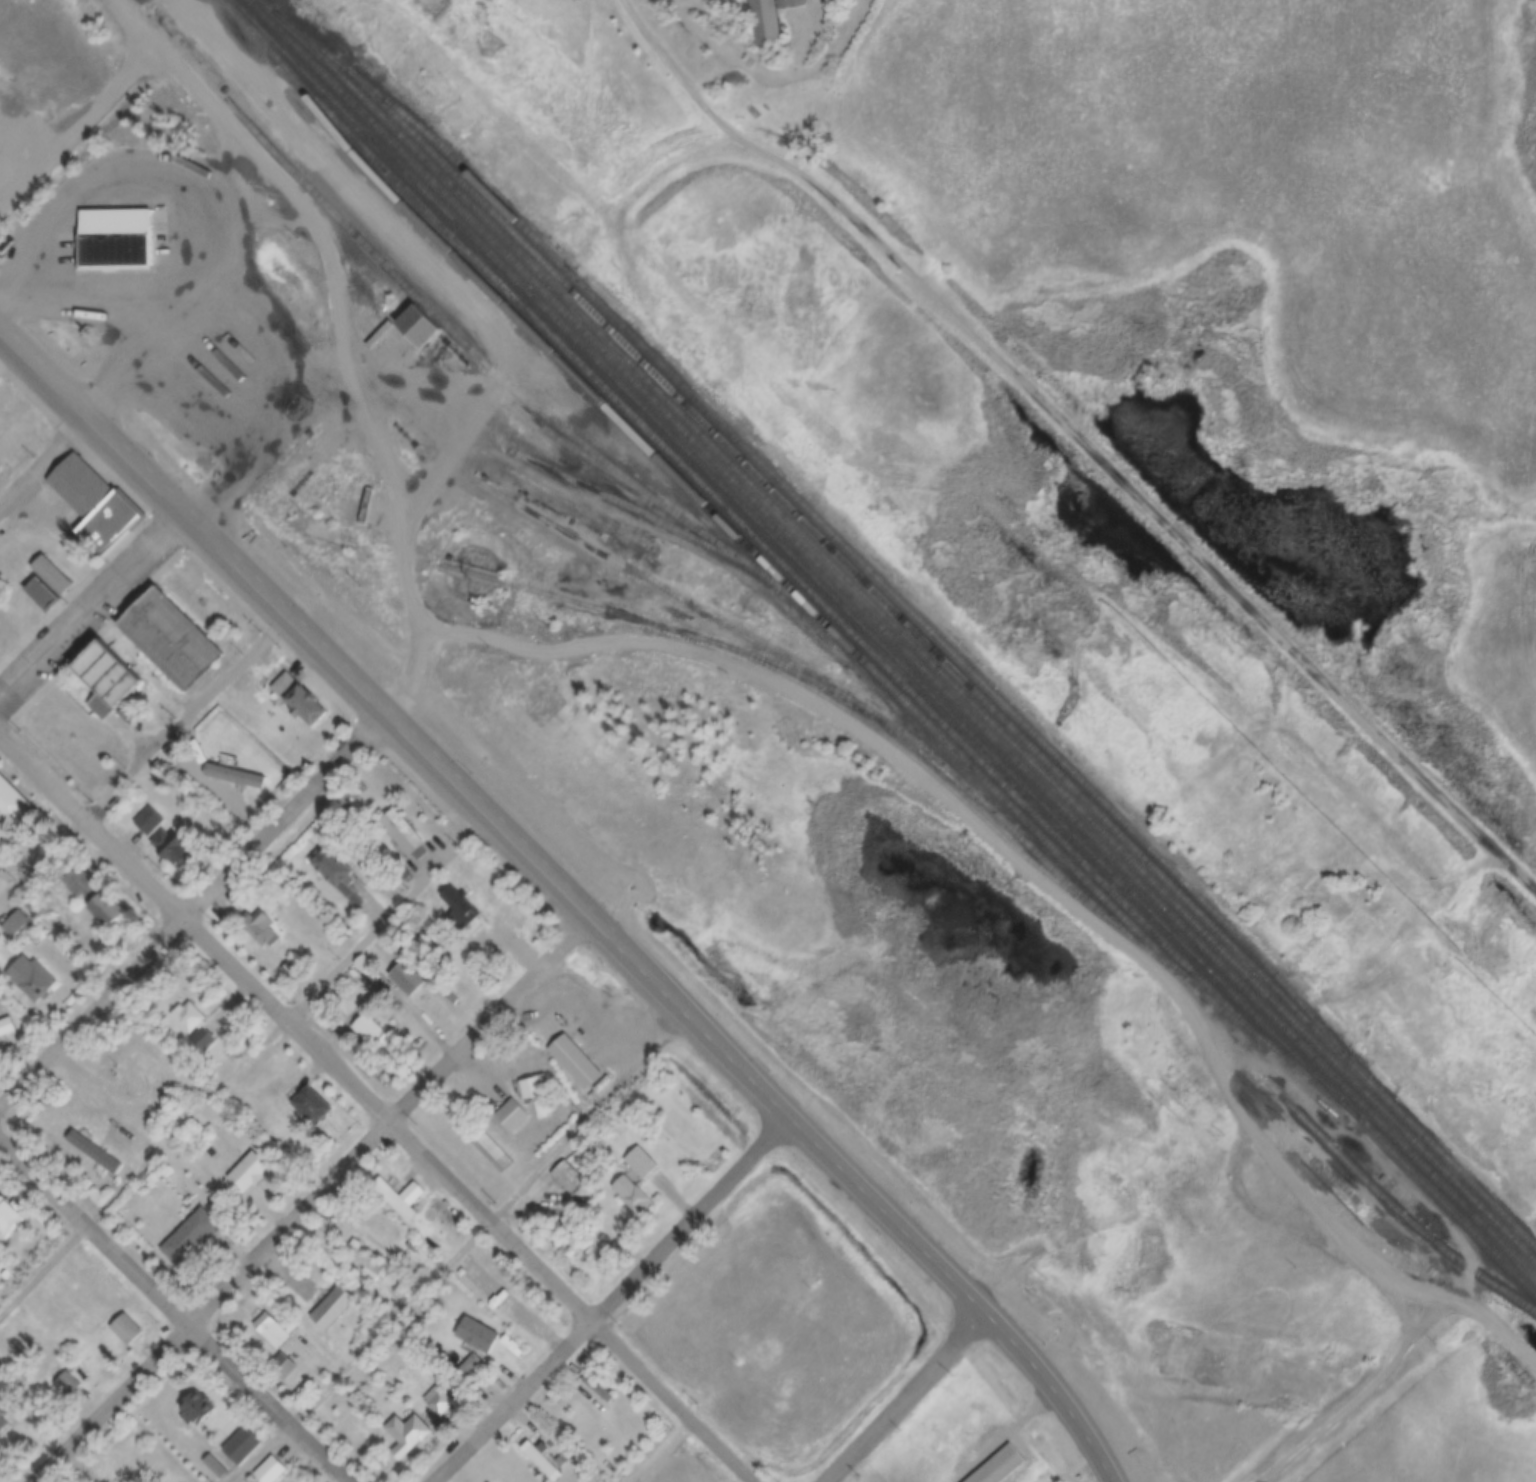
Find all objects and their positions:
building: (771, 19)
road: (79, 133)
road: (109, 184)
road: (637, 201)
building: (117, 241)
road: (329, 255)
road: (193, 313)
building: (422, 329)
railway: (487, 365)
building: (1, 381)
building: (0, 385)
road: (1081, 443)
railway: (573, 445)
road: (44, 471)
road: (442, 482)
building: (97, 505)
railway: (709, 506)
railway: (643, 512)
railway: (823, 524)
railway: (774, 557)
building: (55, 576)
road: (898, 585)
building: (47, 593)
road: (94, 618)
railway: (651, 621)
railway: (904, 634)
railway: (892, 638)
building: (175, 640)
railway: (884, 648)
railway: (935, 651)
building: (114, 673)
railway: (828, 683)
building: (305, 699)
building: (105, 706)
road: (143, 767)
building: (159, 767)
building: (238, 776)
building: (13, 800)
building: (151, 822)
building: (409, 833)
building: (176, 849)
road: (1007, 858)
railway: (1034, 865)
building: (341, 874)
building: (101, 897)
road: (572, 900)
building: (463, 902)
road: (194, 915)
building: (18, 925)
building: (265, 930)
building: (37, 936)
building: (369, 964)
building: (296, 972)
building: (414, 978)
building: (33, 980)
building: (0, 997)
building: (197, 1027)
building: (8, 1028)
building: (375, 1033)
building: (577, 1063)
road: (245, 1071)
building: (537, 1093)
building: (315, 1106)
road: (375, 1109)
building: (514, 1116)
building: (489, 1147)
building: (98, 1154)
building: (642, 1164)
building: (253, 1172)
building: (570, 1178)
building: (633, 1196)
building: (405, 1199)
road: (317, 1201)
road: (1249, 1207)
railway: (1393, 1210)
building: (14, 1214)
building: (194, 1237)
road: (471, 1253)
building: (363, 1259)
road: (618, 1301)
building: (336, 1309)
road: (172, 1313)
building: (130, 1330)
building: (277, 1330)
road: (1503, 1333)
building: (479, 1334)
building: (284, 1367)
building: (473, 1368)
building: (69, 1386)
building: (598, 1390)
road: (1370, 1396)
road: (911, 1398)
building: (440, 1401)
building: (198, 1409)
building: (7, 1416)
building: (411, 1432)
building: (244, 1446)
building: (543, 1462)
building: (1002, 1466)
building: (271, 1472)

